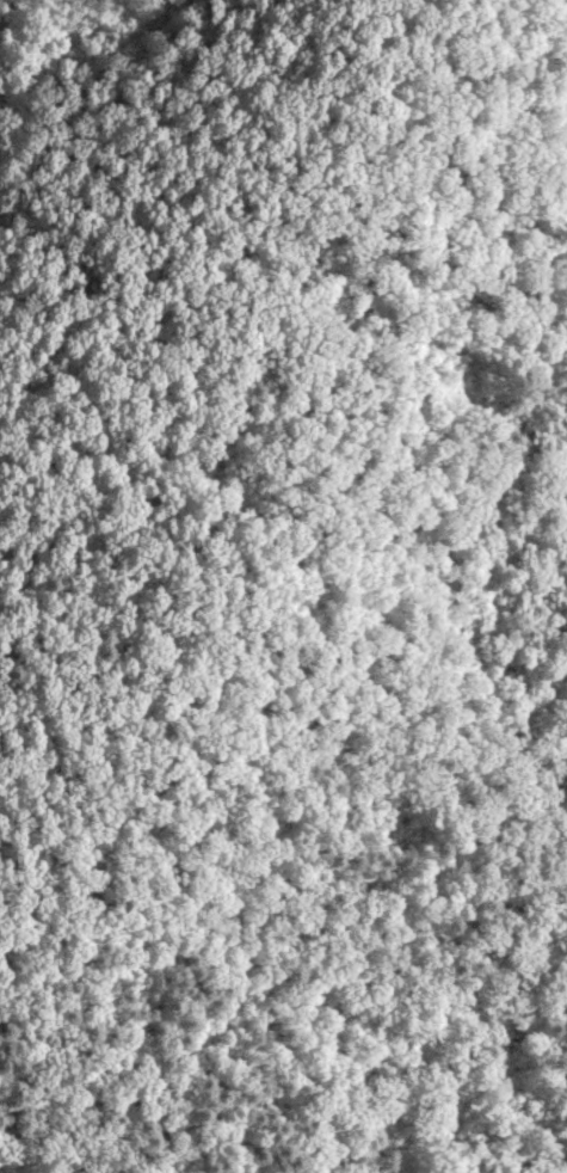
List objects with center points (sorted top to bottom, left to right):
road: (12, 16)

